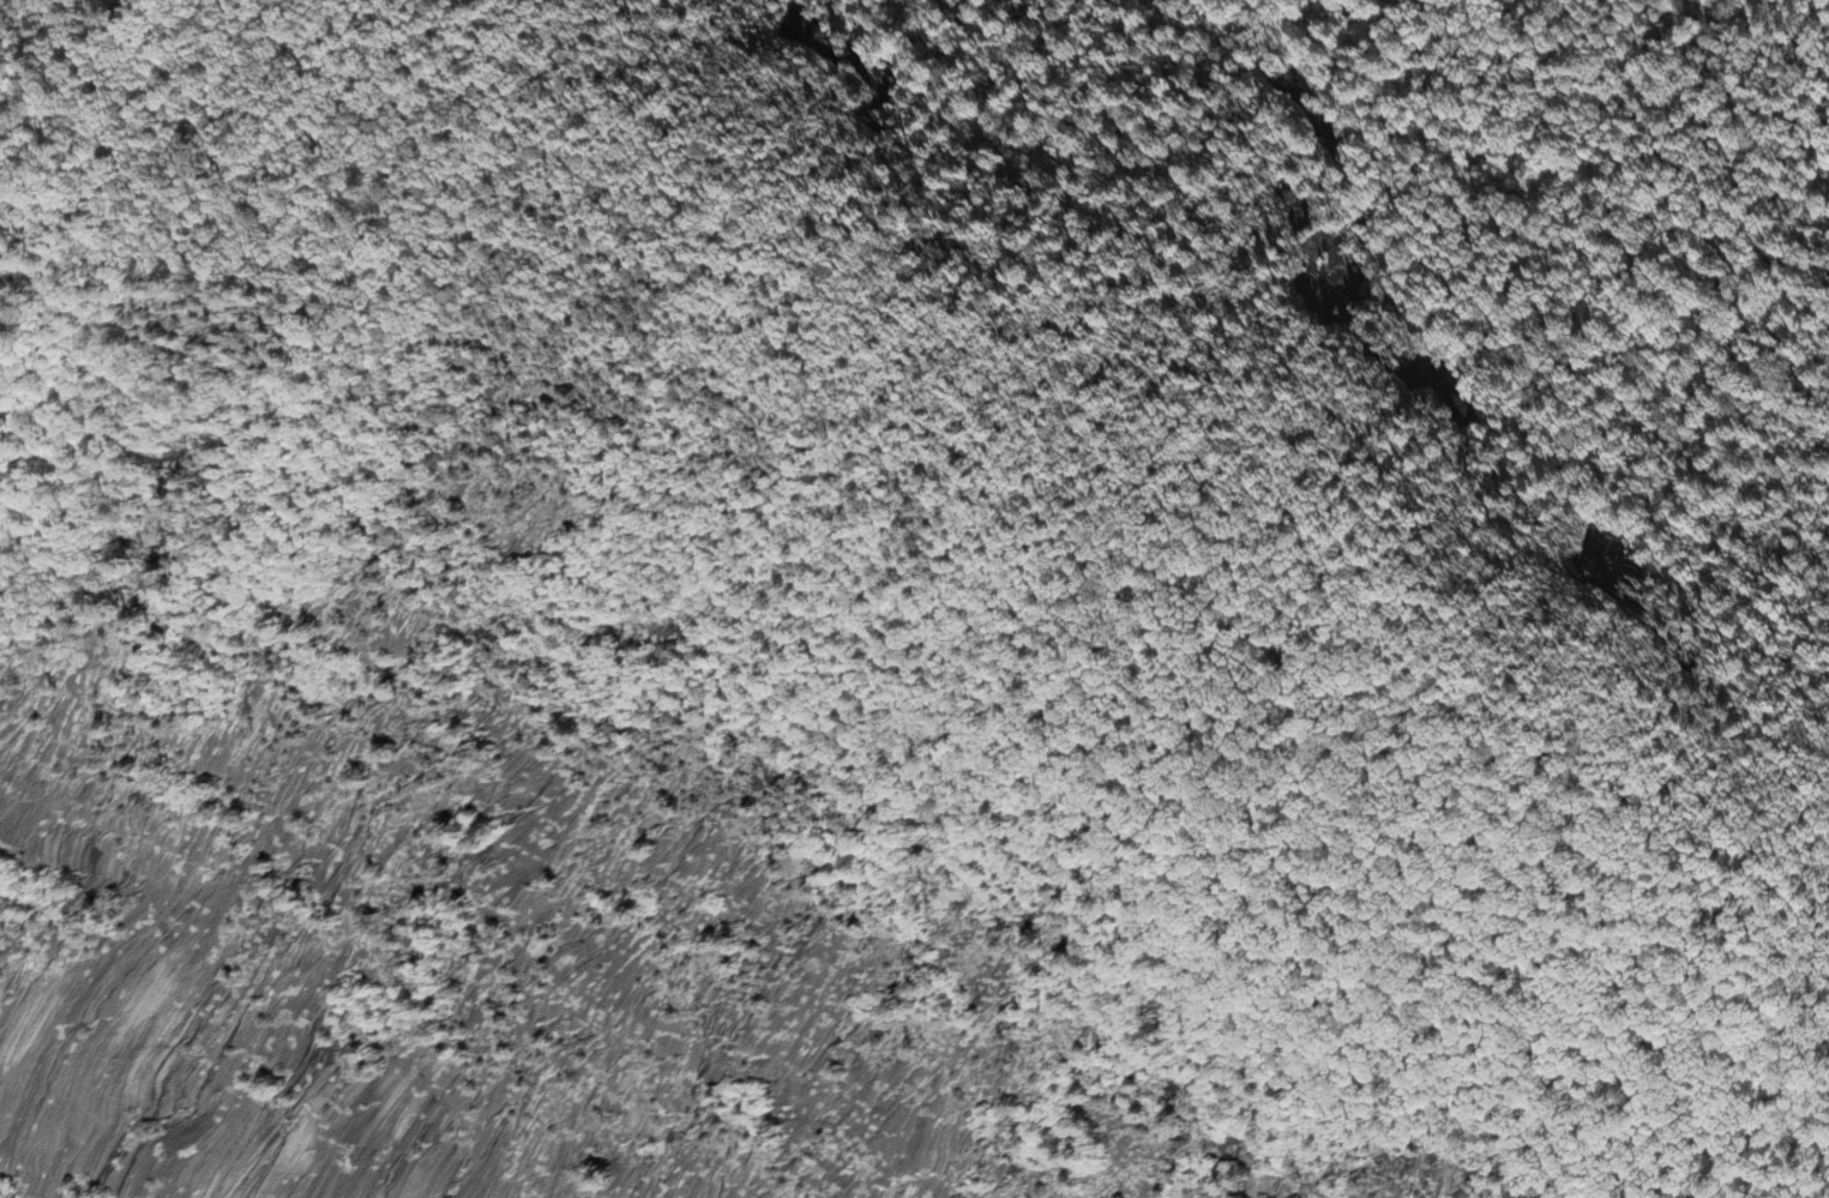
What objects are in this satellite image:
park: (1187, 351)

